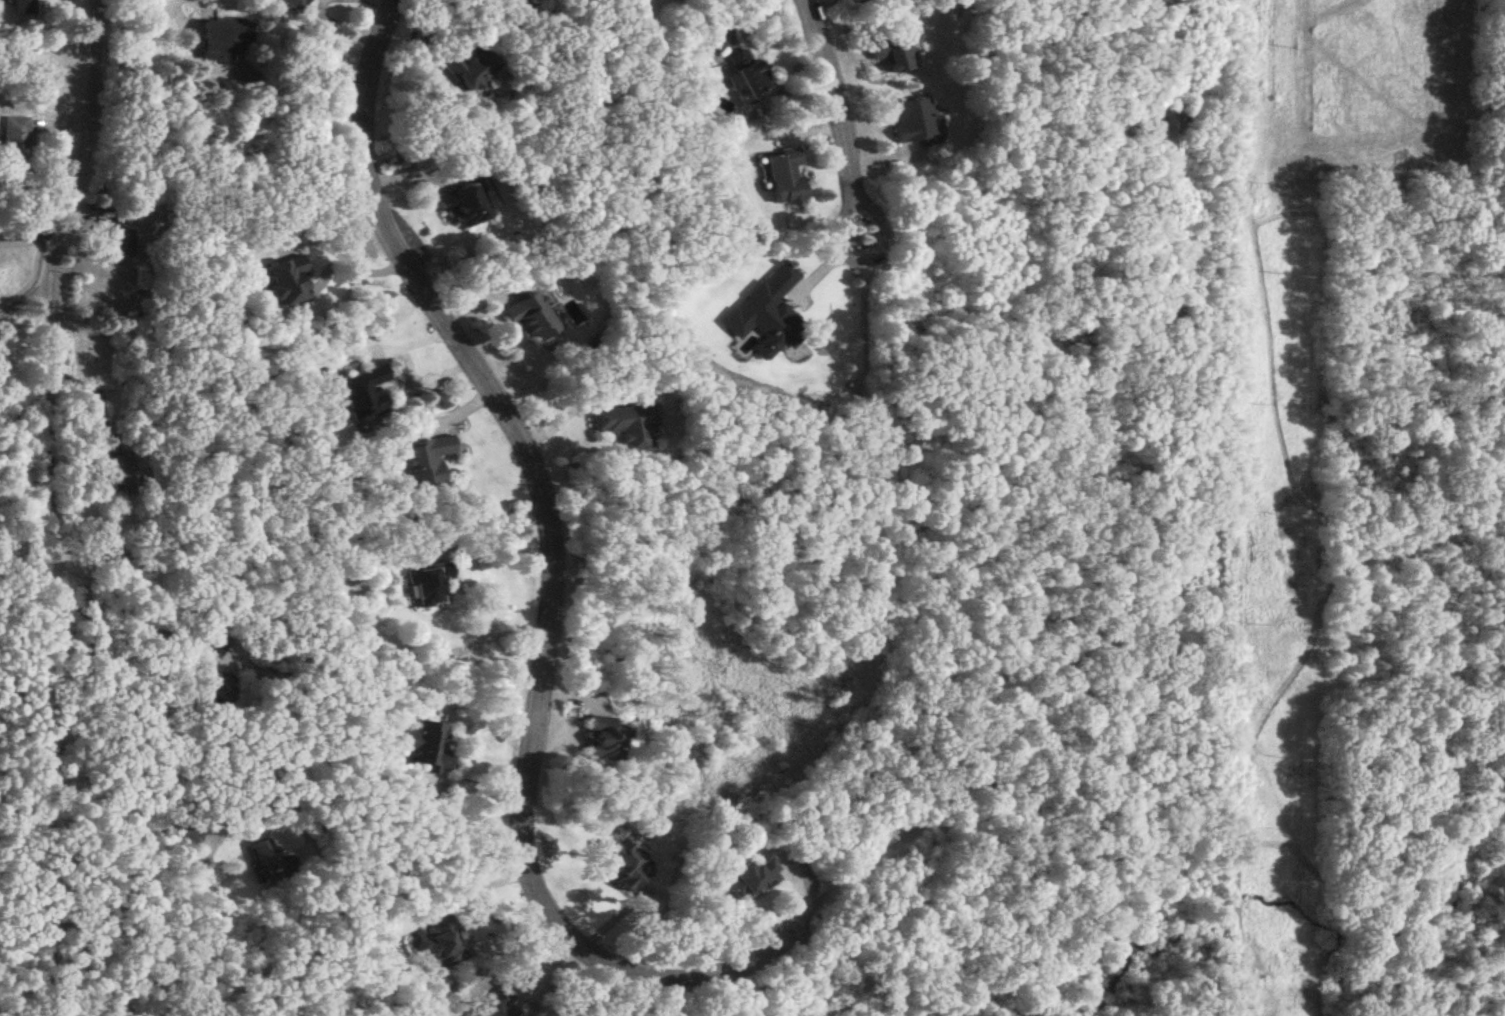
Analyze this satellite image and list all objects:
building: (680, 0)
building: (529, 1)
building: (294, 4)
building: (23, 8)
road: (738, 19)
building: (222, 39)
building: (895, 54)
road: (295, 68)
building: (471, 68)
building: (750, 76)
road: (840, 120)
building: (914, 122)
building: (16, 146)
road: (83, 171)
building: (786, 179)
building: (464, 209)
road: (32, 238)
building: (124, 246)
road: (352, 260)
building: (286, 283)
road: (22, 301)
building: (766, 315)
building: (531, 319)
road: (78, 389)
building: (363, 395)
building: (627, 429)
building: (427, 461)
building: (126, 473)
building: (428, 587)
road: (549, 590)
building: (87, 603)
building: (207, 645)
building: (219, 693)
building: (602, 738)
building: (427, 742)
building: (270, 861)
building: (624, 863)
building: (753, 879)
building: (442, 944)

